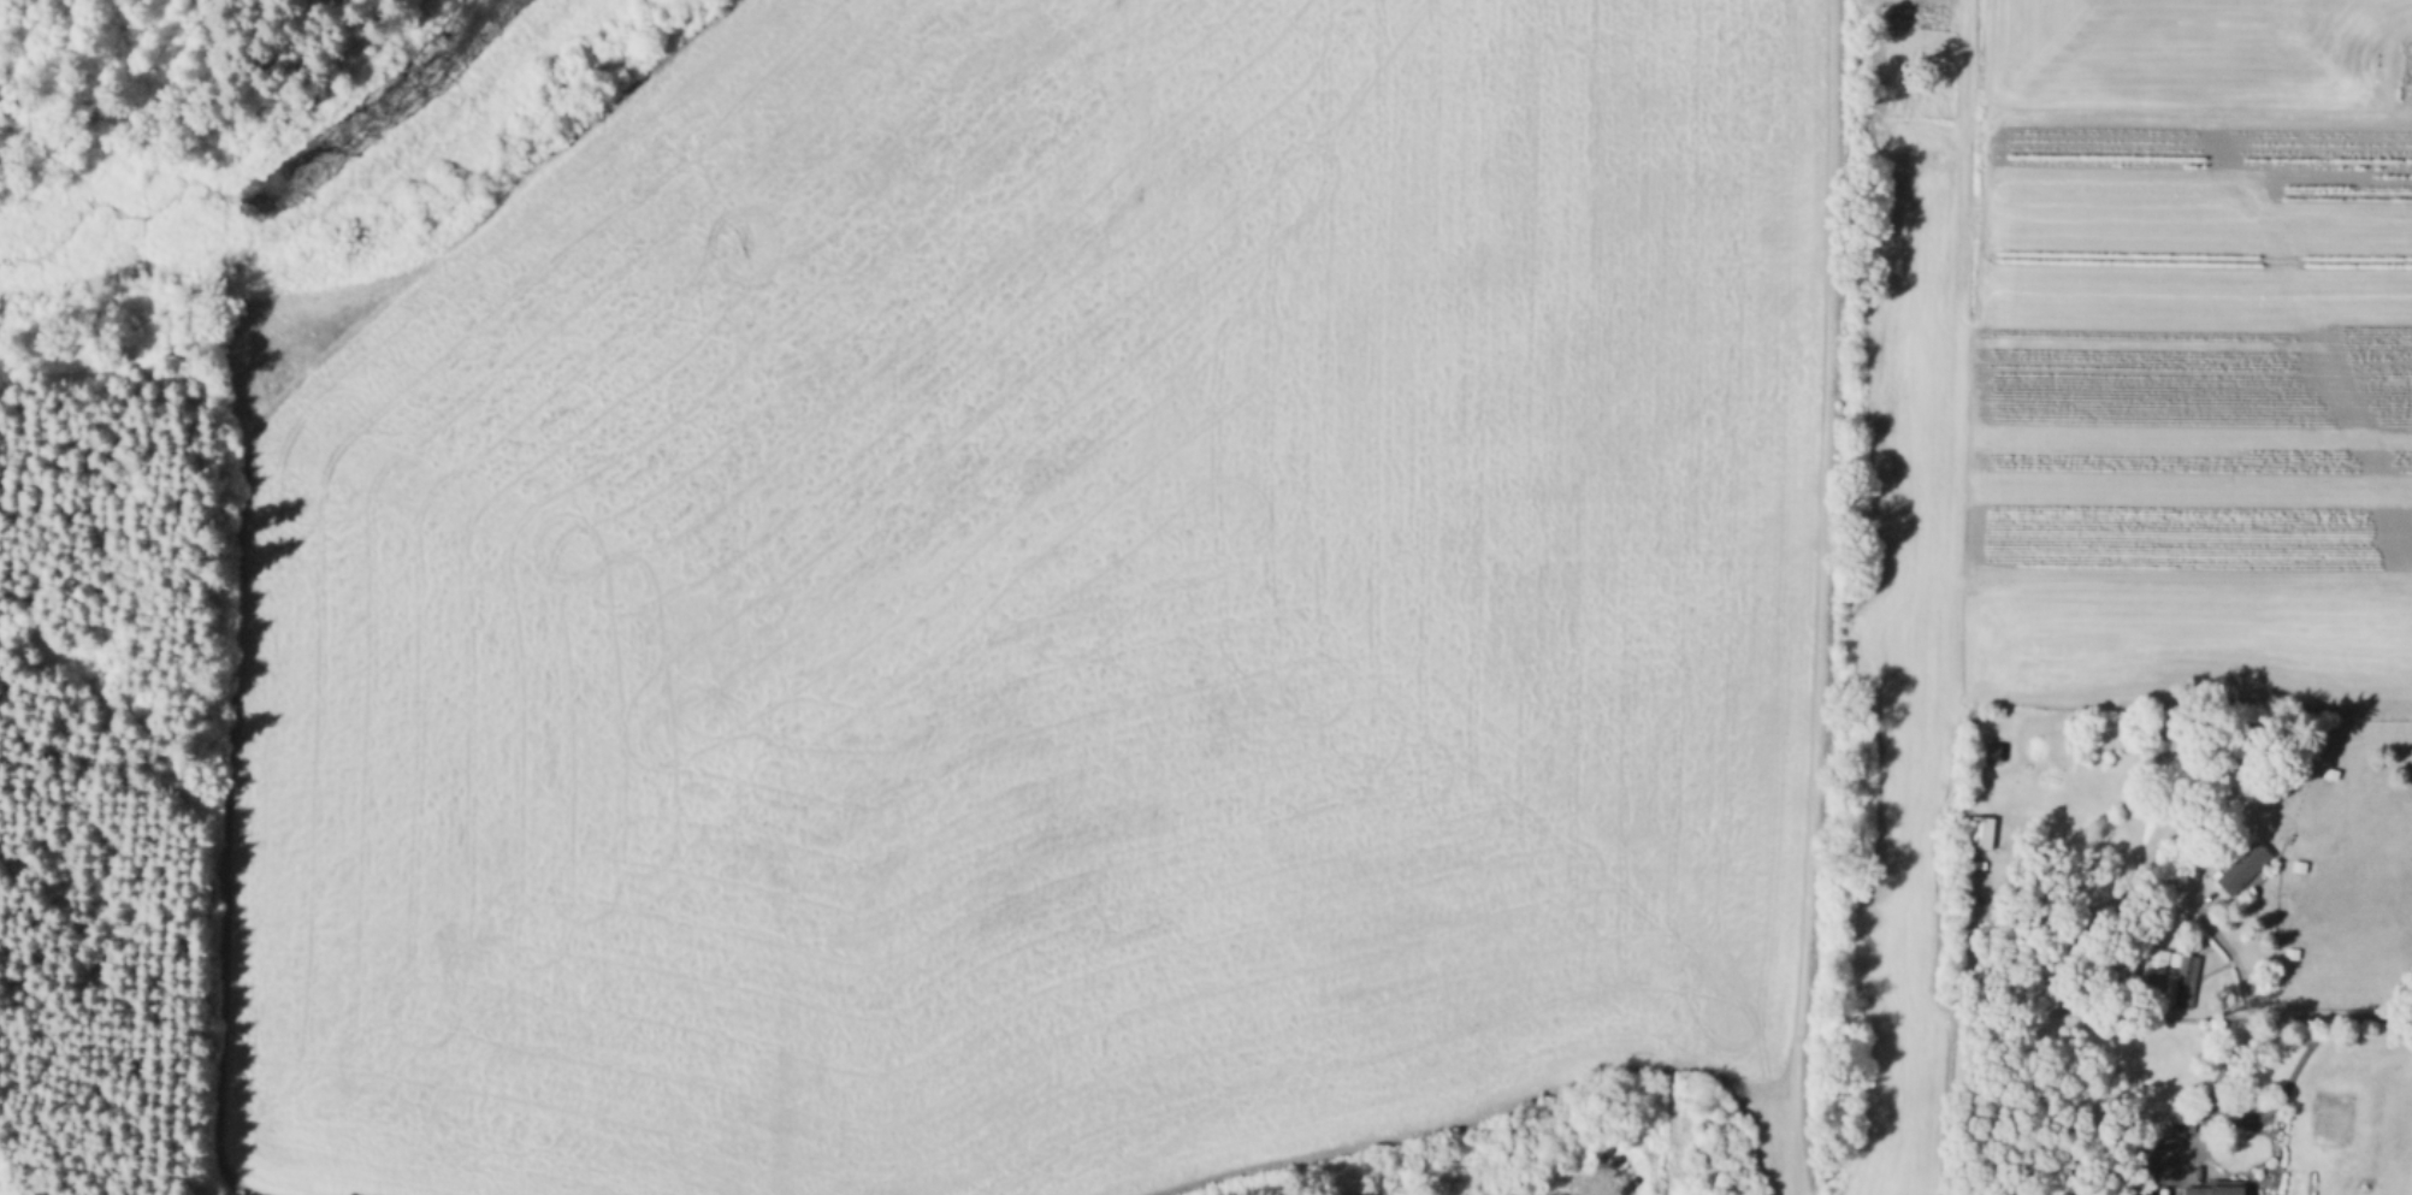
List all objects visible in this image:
road: (1826, 304)
building: (2329, 776)
building: (1982, 830)
building: (2300, 865)
building: (2245, 869)
building: (2292, 953)
building: (2175, 975)
road: (2256, 1008)
road: (2257, 1116)
building: (2218, 1188)

